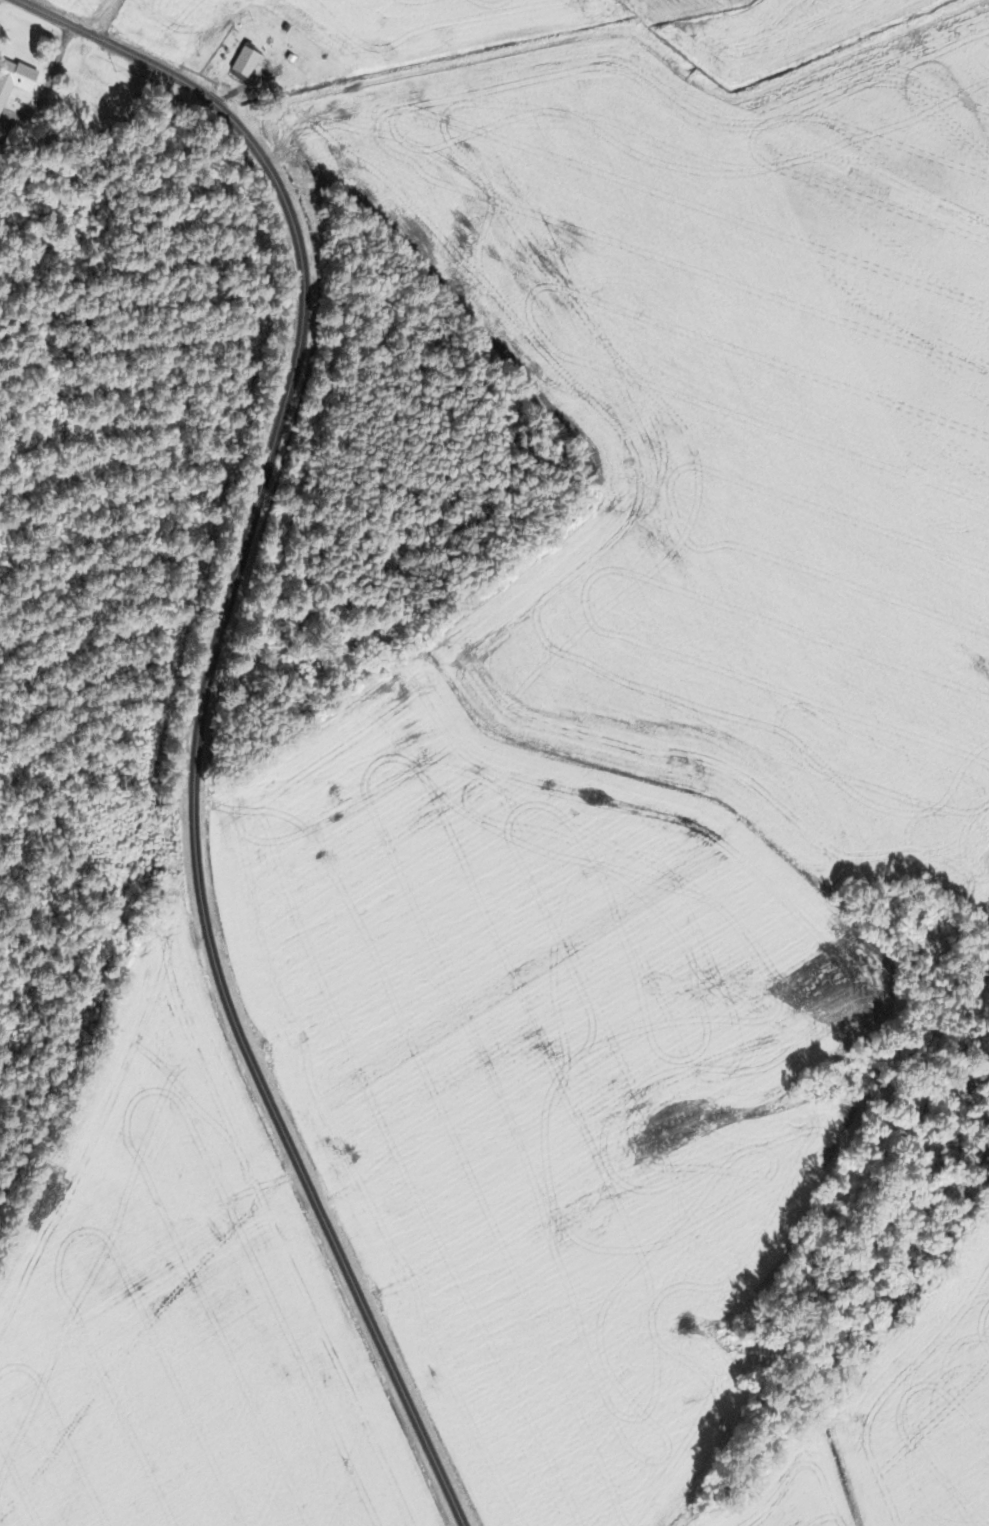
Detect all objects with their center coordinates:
building: (295, 60)
building: (243, 63)
building: (14, 78)
building: (3, 131)
road: (202, 712)

